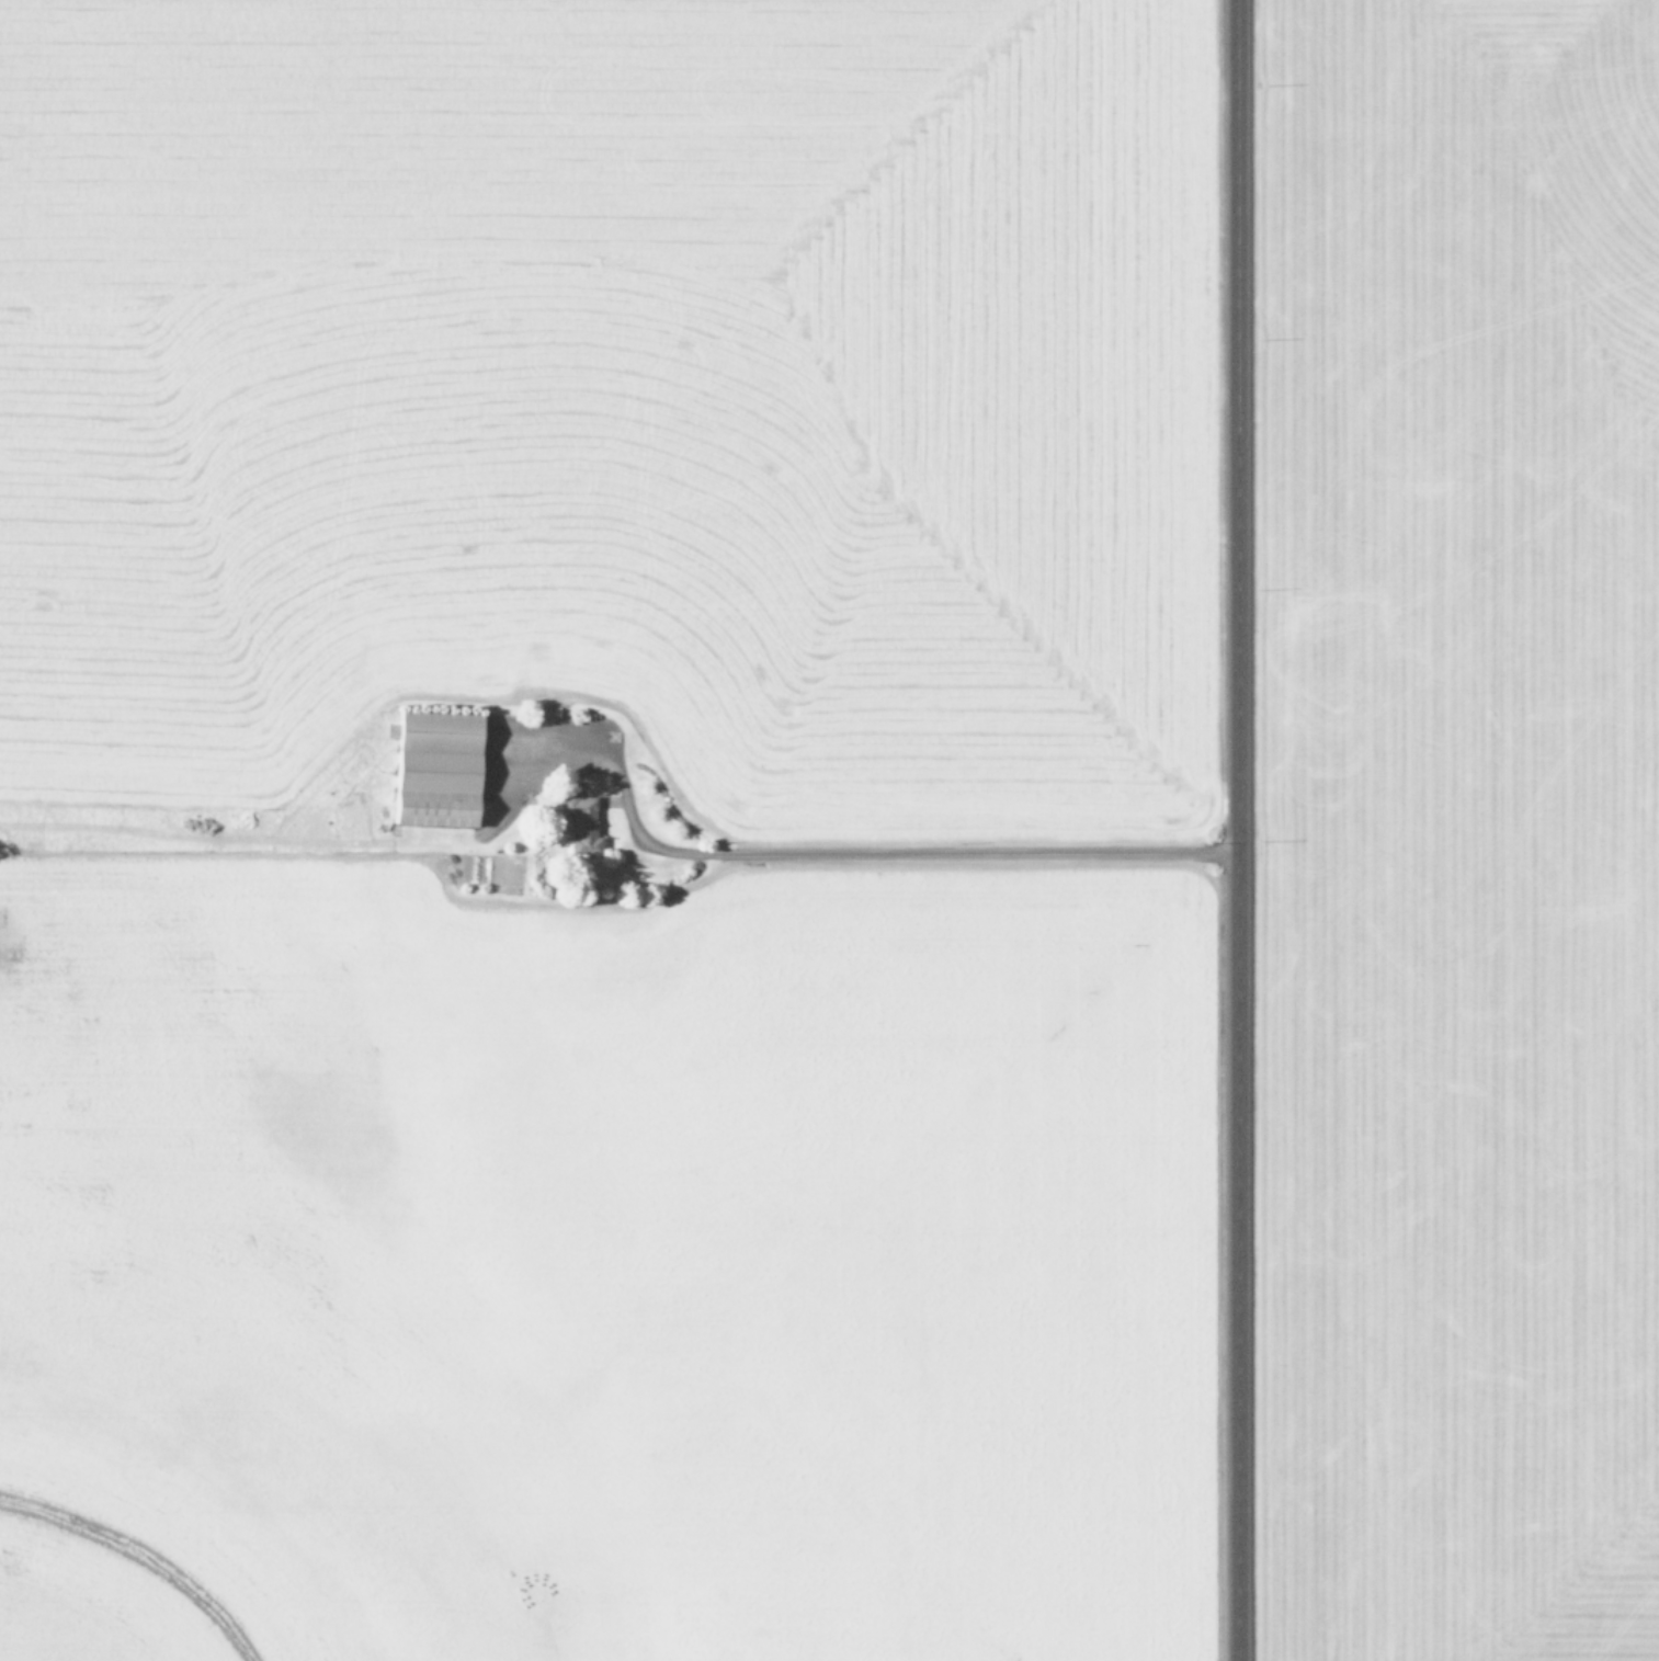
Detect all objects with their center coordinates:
building: (439, 769)
building: (579, 821)
crop: (605, 830)
road: (1235, 830)
crop: (1461, 831)
road: (885, 851)

